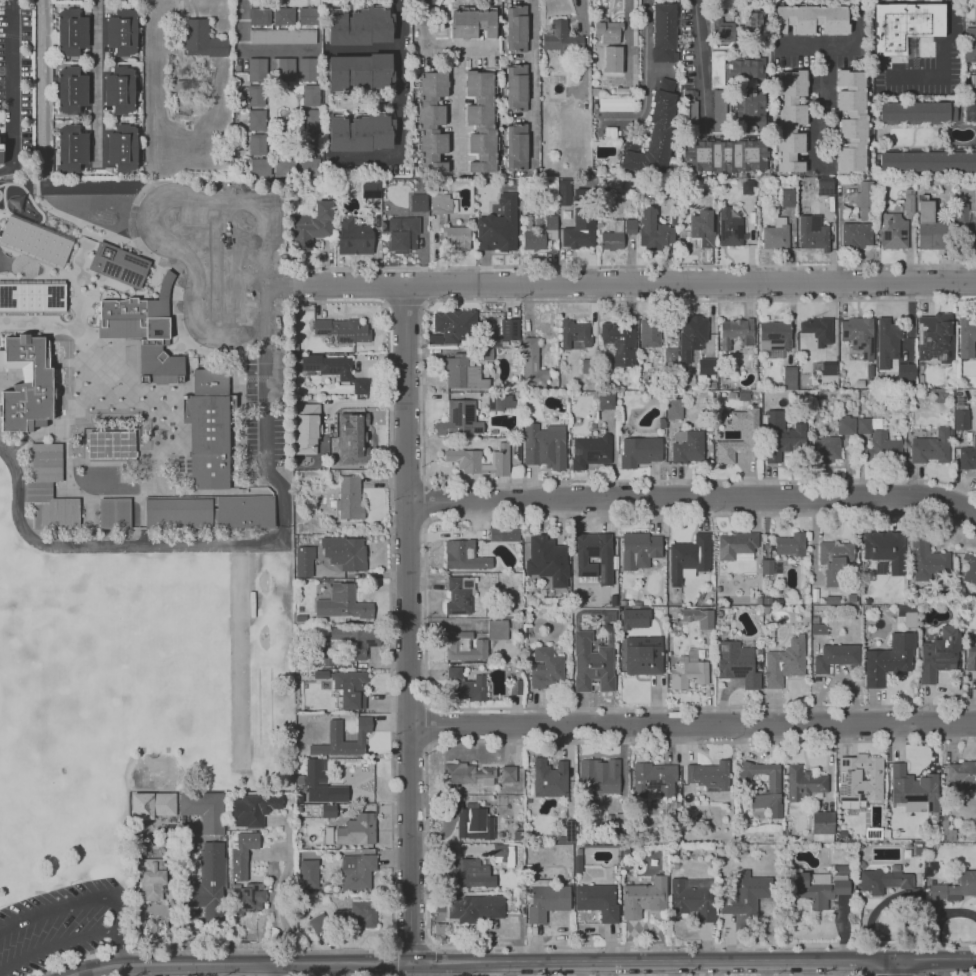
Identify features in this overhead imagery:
building: (259, 15)
building: (283, 15)
building: (309, 15)
building: (813, 19)
building: (472, 22)
building: (754, 23)
road: (423, 24)
building: (903, 26)
building: (359, 27)
building: (516, 27)
building: (722, 28)
building: (119, 29)
building: (608, 30)
building: (665, 32)
building: (74, 34)
building: (283, 36)
building: (560, 37)
building: (203, 38)
road: (845, 41)
building: (971, 45)
road: (461, 48)
road: (254, 50)
building: (613, 58)
road: (701, 58)
road: (944, 63)
building: (746, 68)
building: (257, 70)
building: (285, 70)
building: (308, 70)
building: (358, 72)
road: (647, 77)
road: (97, 80)
building: (974, 81)
building: (558, 82)
building: (73, 85)
road: (535, 85)
building: (120, 86)
road: (10, 87)
building: (517, 88)
building: (724, 92)
building: (255, 96)
building: (310, 96)
road: (825, 101)
building: (617, 104)
road: (458, 110)
building: (690, 110)
building: (750, 110)
building: (918, 111)
road: (399, 114)
building: (480, 117)
building: (851, 120)
building: (257, 121)
building: (792, 121)
building: (310, 122)
building: (434, 123)
building: (555, 126)
building: (656, 131)
building: (361, 133)
building: (611, 133)
road: (51, 141)
building: (517, 145)
building: (121, 146)
building: (0, 147)
building: (257, 147)
building: (72, 148)
building: (313, 148)
building: (724, 156)
building: (927, 161)
building: (258, 167)
building: (280, 167)
building: (309, 169)
building: (827, 184)
building: (747, 187)
building: (371, 189)
road: (161, 195)
building: (789, 196)
building: (910, 199)
building: (866, 201)
building: (418, 203)
building: (442, 203)
building: (486, 204)
building: (962, 213)
building: (557, 222)
building: (618, 225)
building: (629, 226)
building: (318, 227)
building: (930, 228)
building: (701, 229)
building: (731, 229)
building: (502, 231)
building: (652, 231)
building: (813, 231)
building: (894, 231)
building: (403, 232)
building: (587, 232)
building: (776, 234)
building: (856, 235)
building: (569, 237)
building: (971, 237)
building: (456, 238)
building: (36, 240)
building: (535, 240)
building: (612, 240)
building: (357, 241)
road: (151, 255)
building: (118, 265)
road: (274, 265)
road: (636, 266)
road: (279, 286)
road: (634, 286)
building: (34, 297)
road: (700, 300)
road: (330, 301)
road: (404, 301)
road: (266, 302)
road: (424, 302)
road: (384, 303)
road: (189, 306)
road: (191, 307)
building: (343, 327)
building: (451, 327)
building: (509, 328)
road: (247, 330)
building: (817, 330)
building: (967, 330)
building: (735, 331)
building: (576, 333)
building: (694, 333)
building: (651, 335)
building: (859, 335)
road: (184, 336)
building: (150, 337)
building: (774, 338)
building: (936, 339)
building: (619, 341)
building: (888, 343)
building: (58, 348)
building: (485, 353)
building: (670, 355)
building: (533, 363)
building: (588, 366)
building: (707, 366)
building: (826, 371)
building: (344, 372)
building: (462, 373)
building: (906, 373)
building: (789, 377)
building: (26, 384)
building: (742, 396)
building: (606, 401)
building: (495, 403)
building: (320, 406)
building: (675, 408)
building: (963, 417)
building: (461, 419)
building: (661, 421)
building: (846, 425)
building: (865, 426)
building: (306, 427)
building: (208, 428)
building: (748, 434)
building: (350, 436)
building: (775, 436)
road: (21, 442)
building: (544, 445)
building: (111, 447)
building: (932, 447)
building: (894, 448)
building: (689, 449)
building: (827, 449)
building: (641, 450)
building: (590, 451)
building: (463, 456)
building: (966, 457)
road: (612, 480)
building: (50, 489)
building: (350, 498)
road: (694, 498)
road: (425, 501)
building: (210, 512)
building: (115, 513)
building: (503, 532)
building: (737, 542)
road: (253, 546)
building: (792, 546)
building: (547, 549)
building: (881, 549)
building: (344, 550)
building: (639, 550)
building: (462, 554)
building: (595, 556)
building: (689, 556)
building: (928, 560)
building: (306, 561)
building: (832, 561)
building: (768, 567)
building: (967, 568)
building: (458, 599)
building: (342, 602)
road: (423, 608)
building: (698, 617)
building: (635, 618)
road: (412, 624)
building: (817, 628)
building: (500, 629)
building: (362, 641)
building: (453, 645)
building: (327, 655)
building: (940, 655)
building: (836, 657)
building: (643, 659)
building: (893, 659)
building: (971, 659)
building: (786, 662)
building: (741, 663)
building: (594, 666)
building: (546, 668)
building: (692, 673)
building: (467, 686)
building: (352, 689)
park: (125, 721)
road: (695, 721)
road: (427, 724)
building: (336, 737)
road: (602, 742)
building: (962, 772)
building: (313, 773)
building: (508, 773)
building: (459, 774)
building: (708, 774)
building: (655, 777)
building: (865, 777)
building: (550, 778)
building: (598, 780)
building: (802, 781)
building: (770, 788)
building: (913, 788)
building: (317, 794)
building: (300, 798)
building: (151, 804)
road: (391, 806)
building: (253, 810)
building: (206, 811)
building: (327, 811)
building: (476, 821)
building: (823, 822)
building: (357, 830)
building: (569, 831)
building: (243, 853)
building: (502, 853)
building: (468, 871)
building: (356, 873)
building: (309, 875)
building: (153, 881)
building: (210, 882)
building: (874, 882)
building: (968, 882)
building: (756, 886)
building: (820, 888)
building: (936, 890)
building: (691, 896)
road: (93, 897)
building: (598, 898)
building: (643, 898)
building: (248, 900)
building: (544, 903)
building: (473, 907)
building: (365, 913)
road: (936, 918)
building: (319, 922)
parking lot: (63, 925)
road: (59, 943)
road: (394, 945)
road: (702, 945)
road: (696, 962)
road: (241, 963)
road: (274, 969)
road: (479, 969)
road: (893, 969)
road: (801, 975)
road: (944, 975)

